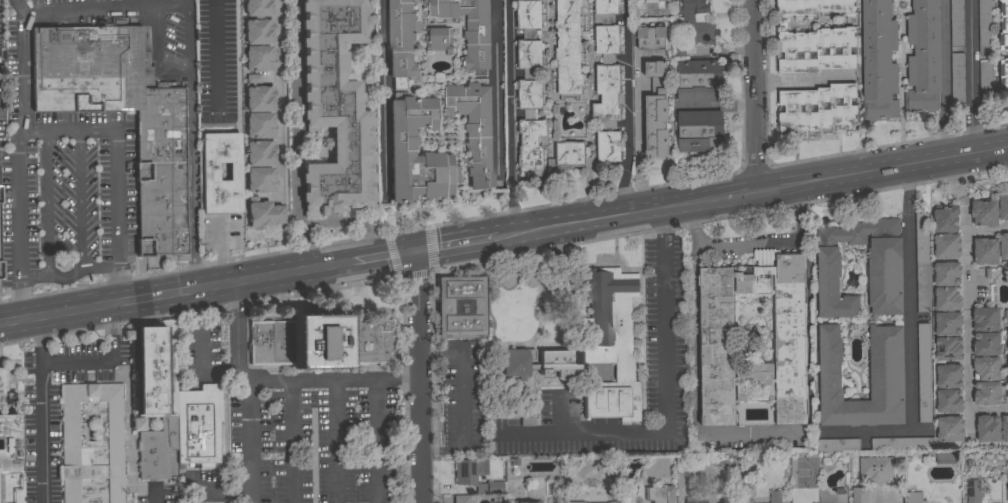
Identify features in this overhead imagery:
building: (649, 0)
building: (812, 7)
road: (102, 9)
building: (696, 20)
building: (258, 22)
building: (984, 26)
building: (1003, 26)
building: (469, 28)
building: (651, 37)
building: (439, 39)
building: (401, 42)
building: (568, 48)
building: (679, 50)
building: (817, 50)
building: (953, 50)
road: (155, 56)
building: (924, 57)
road: (214, 59)
building: (258, 59)
building: (879, 60)
road: (20, 65)
building: (86, 68)
road: (972, 77)
building: (1003, 77)
road: (802, 79)
building: (985, 79)
road: (943, 80)
building: (699, 81)
building: (607, 82)
road: (625, 84)
building: (161, 85)
building: (530, 89)
road: (508, 91)
road: (756, 96)
road: (277, 98)
building: (259, 99)
road: (384, 101)
building: (335, 108)
building: (817, 108)
building: (656, 112)
building: (259, 125)
building: (474, 128)
road: (65, 130)
building: (700, 131)
road: (294, 136)
road: (188, 145)
building: (402, 148)
building: (260, 153)
building: (570, 156)
road: (959, 156)
building: (207, 171)
building: (162, 174)
road: (854, 175)
road: (950, 178)
building: (260, 180)
road: (777, 188)
road: (908, 189)
road: (621, 191)
road: (735, 195)
building: (0, 197)
road: (115, 198)
road: (706, 200)
road: (78, 201)
road: (45, 203)
road: (17, 205)
building: (1003, 207)
road: (509, 209)
building: (263, 213)
building: (985, 213)
road: (604, 218)
building: (946, 219)
road: (351, 220)
road: (482, 240)
road: (751, 241)
building: (947, 246)
road: (436, 248)
road: (696, 250)
building: (990, 250)
traffic signals: (419, 251)
road: (219, 253)
road: (394, 255)
building: (922, 262)
building: (885, 265)
road: (99, 267)
road: (302, 270)
building: (0, 271)
building: (947, 274)
road: (64, 277)
road: (31, 278)
road: (117, 285)
road: (176, 293)
road: (142, 298)
building: (947, 299)
road: (19, 300)
building: (460, 307)
road: (78, 310)
road: (30, 318)
building: (1006, 318)
building: (985, 319)
road: (11, 321)
road: (966, 321)
building: (948, 324)
building: (1006, 332)
building: (318, 342)
building: (610, 344)
building: (986, 344)
building: (948, 349)
building: (717, 350)
building: (1007, 352)
road: (441, 353)
road: (103, 358)
building: (539, 363)
road: (910, 366)
building: (986, 368)
road: (201, 369)
building: (923, 373)
building: (886, 374)
building: (949, 376)
road: (421, 377)
road: (333, 379)
building: (1007, 389)
building: (4, 390)
road: (247, 392)
building: (987, 393)
building: (151, 395)
road: (697, 397)
building: (949, 401)
road: (663, 403)
road: (41, 409)
road: (556, 412)
building: (526, 415)
road: (462, 421)
parking lot: (298, 427)
building: (197, 428)
building: (992, 428)
building: (950, 429)
road: (378, 439)
road: (291, 441)
road: (335, 441)
building: (91, 443)
building: (8, 444)
building: (902, 444)
building: (837, 445)
building: (947, 457)
building: (681, 462)
building: (875, 468)
building: (465, 478)
building: (974, 491)
building: (659, 494)
building: (860, 495)
road: (154, 496)
building: (775, 497)
building: (914, 498)
building: (461, 499)
building: (695, 499)
building: (527, 501)
building: (576, 502)
building: (595, 502)
building: (612, 502)

